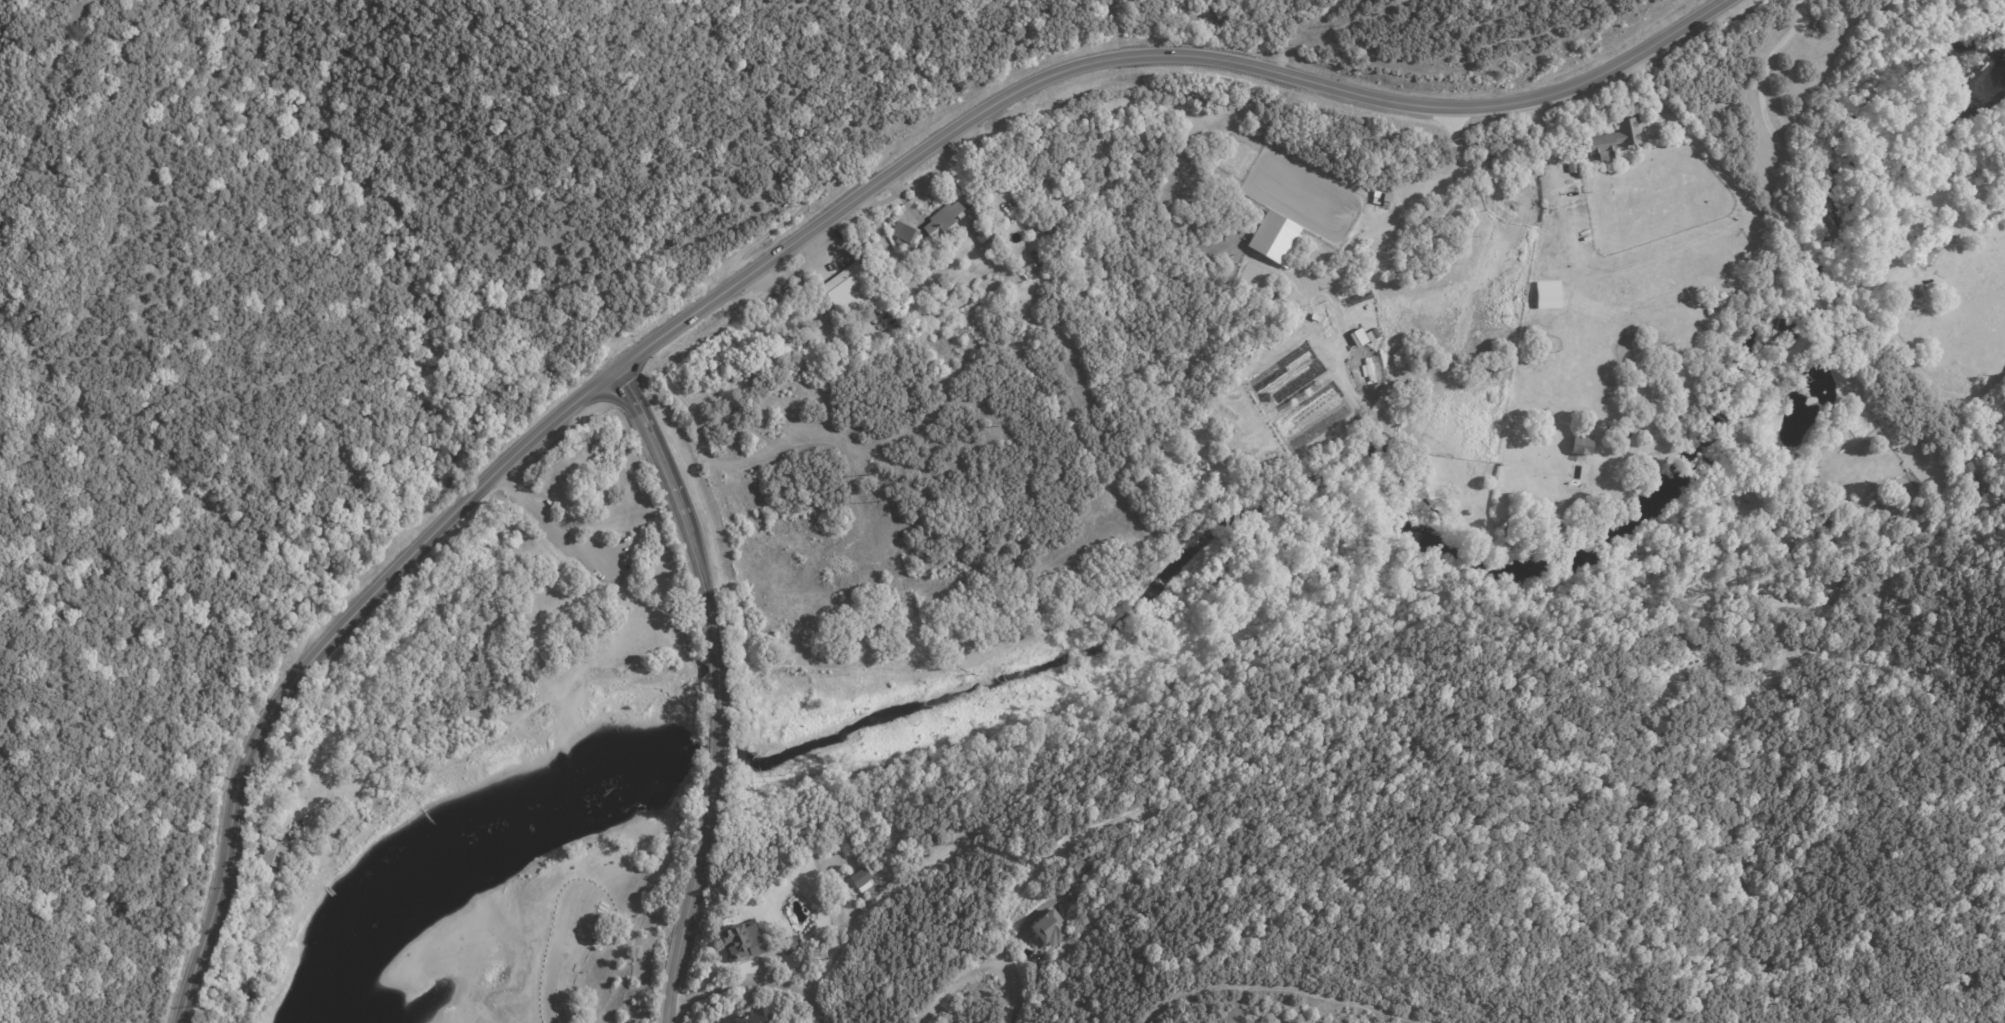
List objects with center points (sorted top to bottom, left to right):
building: (1817, 26)
road: (1310, 35)
building: (1614, 137)
building: (1495, 161)
building: (973, 213)
building: (944, 221)
building: (1056, 223)
building: (996, 226)
building: (905, 233)
road: (1835, 235)
building: (983, 237)
building: (1275, 238)
road: (785, 249)
road: (1782, 250)
building: (1931, 256)
building: (1039, 263)
building: (888, 279)
building: (1307, 290)
building: (848, 292)
building: (880, 293)
building: (1717, 296)
building: (1697, 303)
building: (1719, 306)
building: (876, 312)
building: (809, 319)
building: (1357, 337)
road: (1704, 376)
building: (1583, 446)
building: (1984, 462)
building: (1968, 477)
park: (494, 651)
road: (719, 688)
building: (272, 857)
building: (1087, 869)
building: (859, 877)
building: (1073, 894)
park: (608, 913)
building: (1051, 930)
building: (742, 940)
building: (790, 944)
road: (832, 955)
building: (1043, 965)
road: (961, 979)
road: (754, 980)
road: (817, 1010)
building: (756, 1015)

